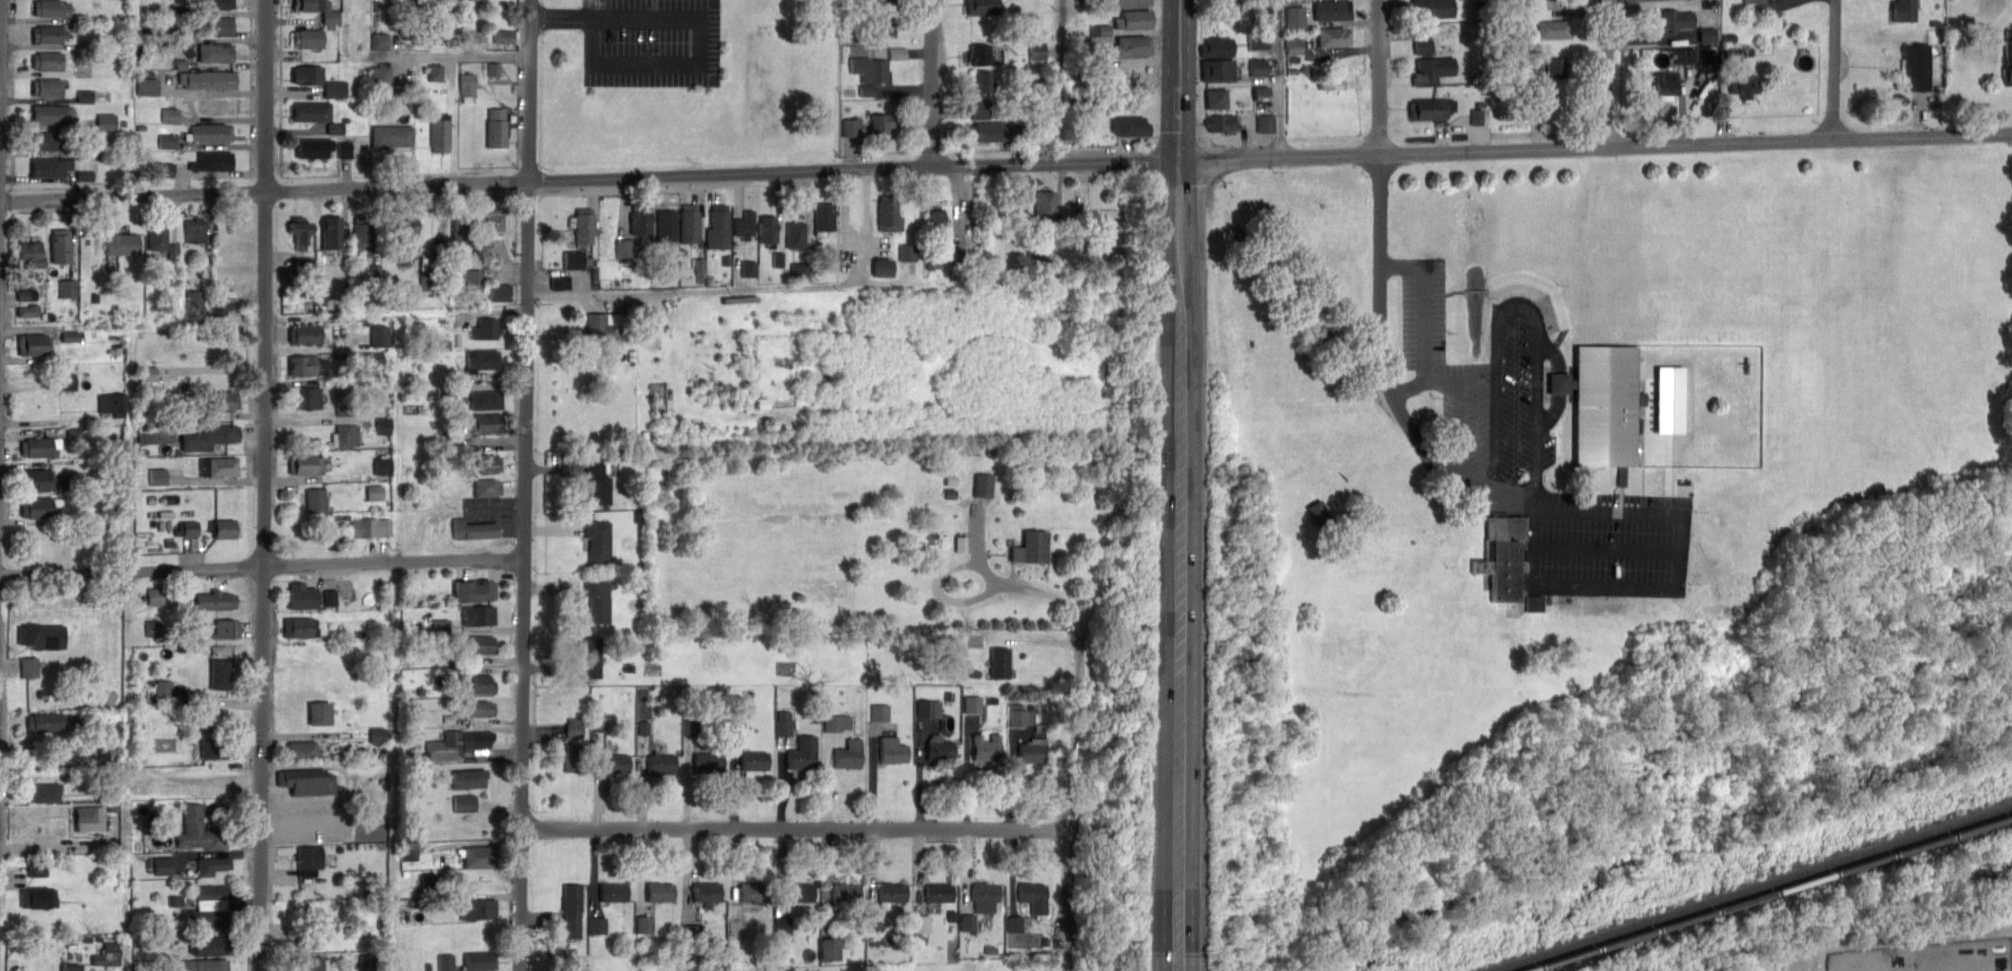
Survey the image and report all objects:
building: (470, 0)
building: (1753, 0)
building: (1477, 2)
building: (1130, 3)
building: (214, 4)
building: (980, 7)
building: (1433, 7)
building: (51, 8)
building: (1333, 9)
building: (1905, 10)
building: (1295, 15)
building: (1678, 17)
building: (330, 18)
building: (1133, 18)
building: (886, 25)
building: (214, 27)
building: (1555, 28)
building: (1100, 29)
building: (2007, 31)
road: (701, 33)
building: (1708, 33)
building: (49, 34)
building: (1335, 35)
building: (474, 36)
building: (1729, 36)
building: (308, 38)
building: (1258, 38)
building: (380, 41)
parking lot: (650, 42)
building: (1294, 44)
building: (1132, 45)
building: (1218, 45)
road: (1179, 48)
building: (1751, 49)
building: (1041, 50)
building: (1731, 51)
building: (897, 52)
building: (215, 53)
building: (979, 53)
building: (1691, 55)
road: (468, 56)
building: (1293, 58)
building: (2005, 59)
building: (1431, 60)
building: (47, 61)
building: (1909, 65)
building: (1258, 66)
building: (1305, 68)
building: (1218, 69)
building: (1292, 69)
building: (1557, 69)
road: (1836, 69)
building: (436, 72)
building: (869, 72)
road: (1609, 73)
building: (308, 74)
road: (1381, 76)
building: (382, 77)
road: (1280, 78)
building: (207, 80)
building: (982, 80)
road: (1061, 81)
building: (1330, 82)
road: (932, 83)
building: (468, 84)
building: (1744, 84)
building: (148, 86)
building: (1664, 86)
building: (47, 87)
building: (1261, 92)
building: (85, 96)
building: (1217, 97)
building: (1479, 102)
building: (1432, 107)
building: (979, 108)
building: (311, 111)
building: (51, 114)
building: (1475, 115)
building: (1264, 121)
building: (106, 122)
building: (1222, 122)
building: (880, 124)
building: (1130, 125)
building: (851, 126)
building: (496, 127)
building: (335, 128)
road: (1178, 128)
building: (987, 131)
building: (211, 132)
building: (440, 133)
building: (391, 135)
building: (49, 140)
building: (168, 141)
building: (314, 148)
building: (345, 150)
building: (212, 161)
road: (1005, 163)
building: (62, 167)
building: (166, 169)
road: (1179, 196)
building: (1044, 207)
building: (888, 212)
road: (843, 213)
building: (824, 216)
building: (934, 216)
building: (640, 219)
road: (1, 220)
building: (493, 222)
building: (688, 223)
building: (746, 224)
building: (583, 225)
building: (667, 226)
building: (719, 226)
building: (462, 227)
building: (195, 231)
building: (300, 231)
building: (331, 231)
building: (766, 231)
building: (363, 234)
building: (794, 234)
building: (157, 235)
building: (408, 237)
building: (122, 244)
building: (60, 246)
building: (623, 246)
building: (907, 251)
building: (30, 256)
building: (573, 258)
building: (749, 267)
building: (884, 267)
building: (472, 279)
building: (561, 281)
building: (68, 288)
road: (744, 288)
building: (26, 295)
building: (194, 298)
road: (1525, 302)
building: (220, 303)
building: (28, 311)
road: (1424, 318)
building: (603, 327)
building: (485, 328)
building: (305, 333)
building: (380, 336)
building: (34, 344)
road: (1553, 353)
building: (481, 359)
building: (307, 365)
building: (148, 374)
building: (67, 381)
road: (1558, 381)
parking lot: (1484, 382)
building: (308, 397)
building: (1671, 397)
building: (485, 399)
building: (221, 401)
building: (1604, 403)
building: (113, 404)
road: (1458, 413)
road: (1552, 413)
building: (483, 422)
building: (383, 426)
building: (160, 436)
building: (346, 436)
building: (207, 437)
building: (38, 446)
building: (486, 463)
building: (305, 464)
building: (218, 466)
building: (159, 476)
building: (36, 479)
road: (220, 482)
building: (596, 483)
building: (984, 483)
road: (267, 485)
road: (525, 485)
building: (487, 487)
building: (375, 492)
building: (315, 499)
building: (37, 507)
road: (496, 511)
parking lot: (491, 512)
road: (1535, 514)
building: (371, 526)
building: (190, 528)
building: (225, 528)
building: (473, 529)
building: (597, 541)
parking lot: (1606, 544)
building: (1032, 546)
road: (1608, 550)
building: (1504, 555)
road: (262, 563)
road: (1018, 585)
road: (1180, 585)
building: (472, 591)
road: (942, 595)
building: (155, 596)
building: (302, 597)
building: (331, 598)
building: (215, 600)
building: (596, 601)
building: (1535, 601)
building: (478, 615)
building: (442, 625)
building: (299, 627)
building: (153, 628)
building: (226, 628)
building: (41, 635)
building: (478, 644)
building: (589, 654)
building: (999, 662)
building: (29, 667)
building: (219, 672)
building: (475, 683)
building: (164, 689)
building: (972, 702)
building: (928, 707)
building: (477, 708)
building: (879, 711)
building: (319, 712)
building: (1022, 714)
building: (837, 720)
building: (783, 721)
building: (44, 722)
building: (598, 722)
building: (574, 726)
building: (643, 726)
building: (113, 731)
building: (458, 742)
building: (938, 747)
building: (985, 747)
building: (218, 749)
building: (300, 750)
building: (891, 750)
building: (1032, 750)
building: (800, 752)
building: (847, 754)
building: (573, 756)
building: (753, 760)
building: (706, 761)
building: (613, 763)
building: (660, 763)
building: (468, 778)
building: (306, 781)
building: (44, 792)
building: (463, 802)
road: (1066, 804)
building: (87, 819)
road: (793, 826)
building: (198, 831)
building: (478, 856)
building: (309, 859)
building: (211, 865)
building: (164, 866)
building: (38, 871)
building: (428, 883)
railway: (1754, 889)
building: (658, 891)
building: (706, 891)
building: (613, 892)
building: (890, 892)
building: (938, 892)
building: (798, 893)
railway: (1768, 893)
building: (752, 894)
building: (843, 894)
building: (983, 895)
building: (1033, 896)
building: (37, 897)
building: (209, 908)
building: (571, 909)
building: (477, 910)
building: (315, 913)
building: (967, 920)
building: (645, 922)
building: (1018, 922)
building: (597, 923)
building: (296, 942)
building: (212, 944)
building: (830, 947)
building: (107, 954)
road: (1171, 954)
road: (1182, 954)
parking lot: (1930, 955)
building: (479, 960)
building: (365, 962)
building: (446, 962)
building: (308, 963)
building: (203, 965)

